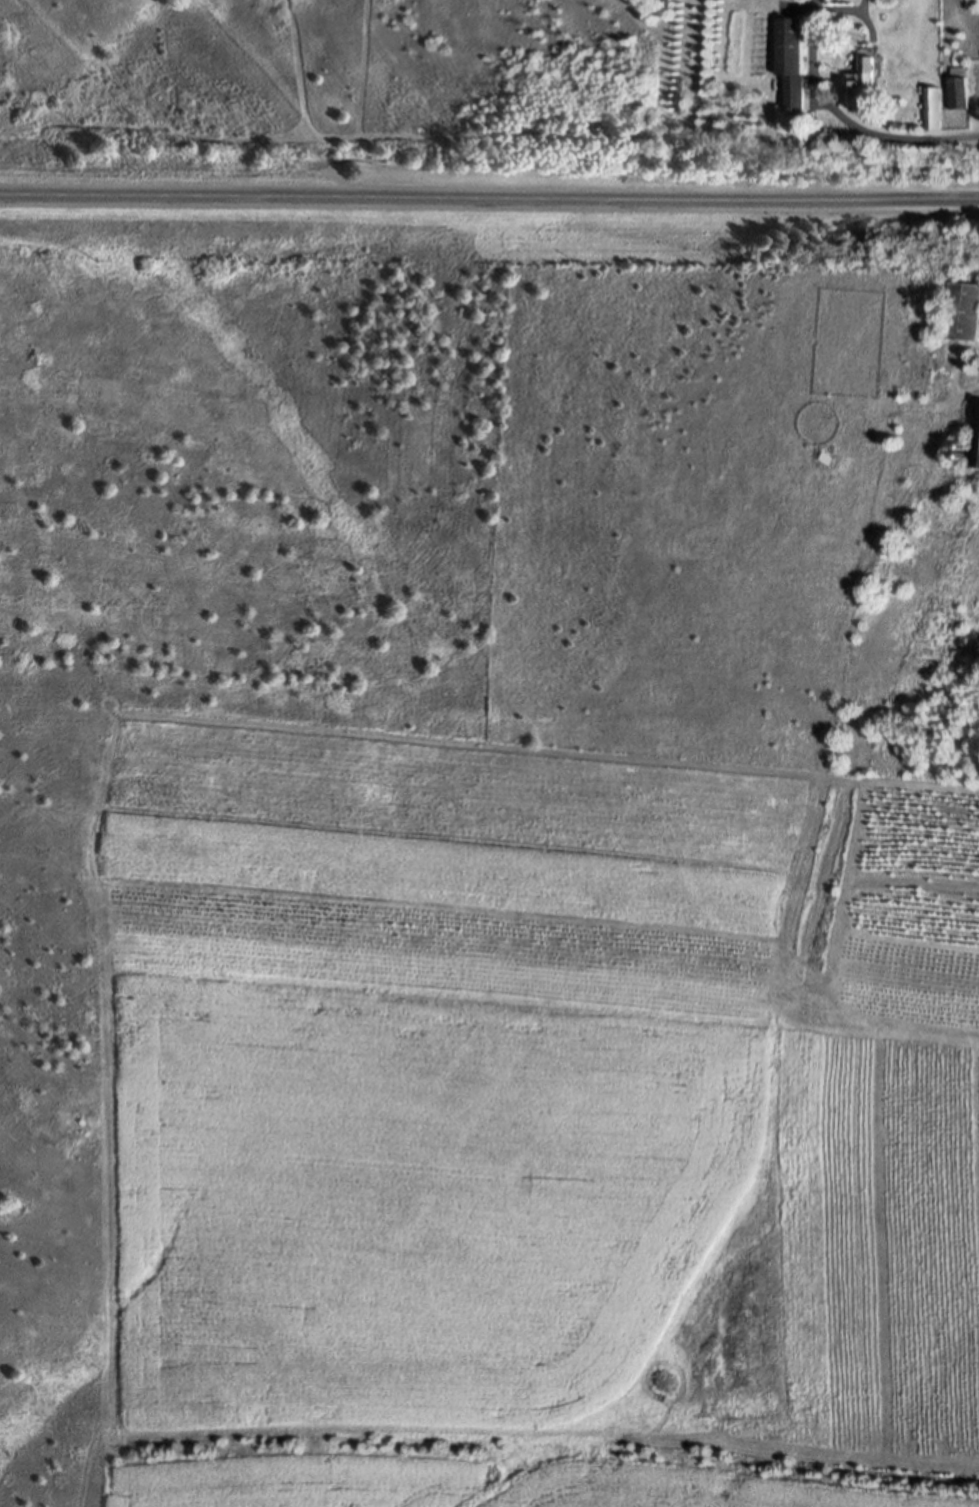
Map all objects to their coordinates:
building: (792, 59)
building: (864, 78)
building: (959, 87)
building: (934, 107)
road: (855, 124)
road: (489, 199)
building: (963, 311)
building: (973, 443)
building: (954, 492)

